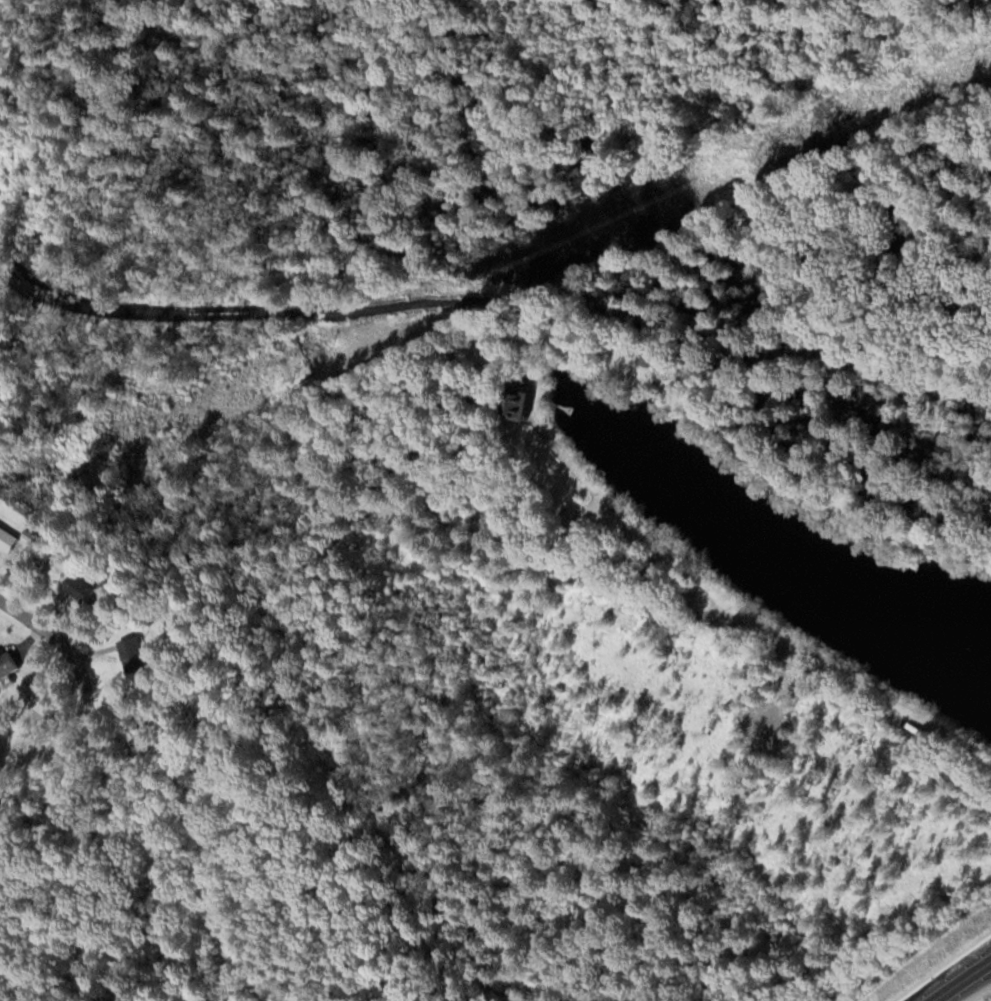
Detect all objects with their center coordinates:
building: (529, 403)
building: (9, 537)
building: (84, 587)
road: (39, 619)
building: (137, 655)
building: (10, 664)
road: (964, 975)
road: (964, 982)
road: (932, 997)

